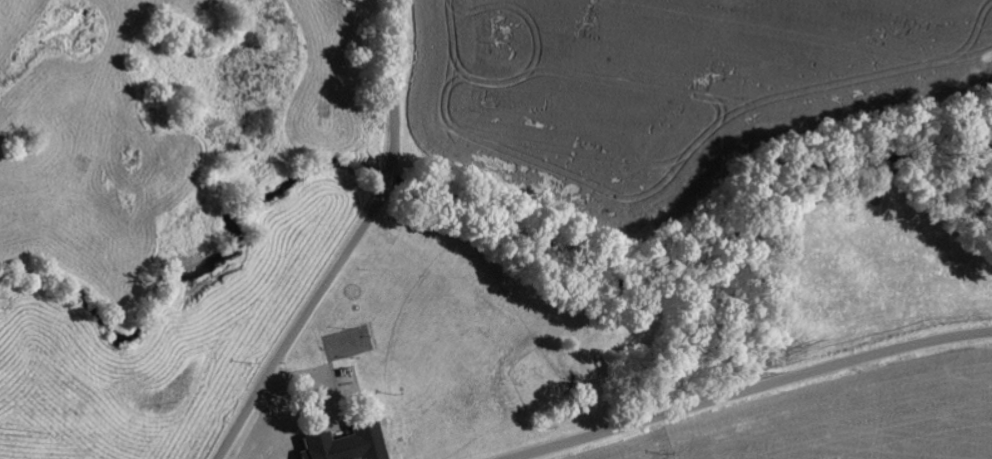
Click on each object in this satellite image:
road: (355, 243)
road: (756, 391)
building: (345, 443)

